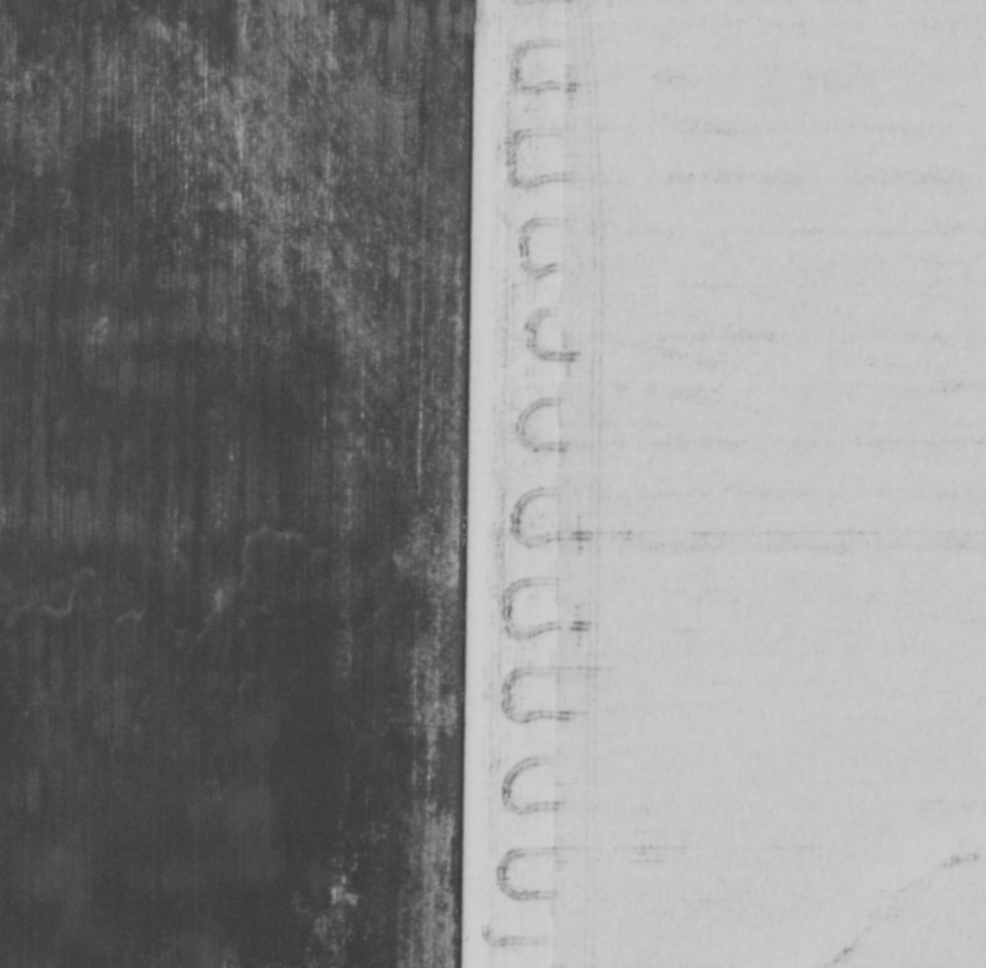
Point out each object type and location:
crop: (493, 484)

